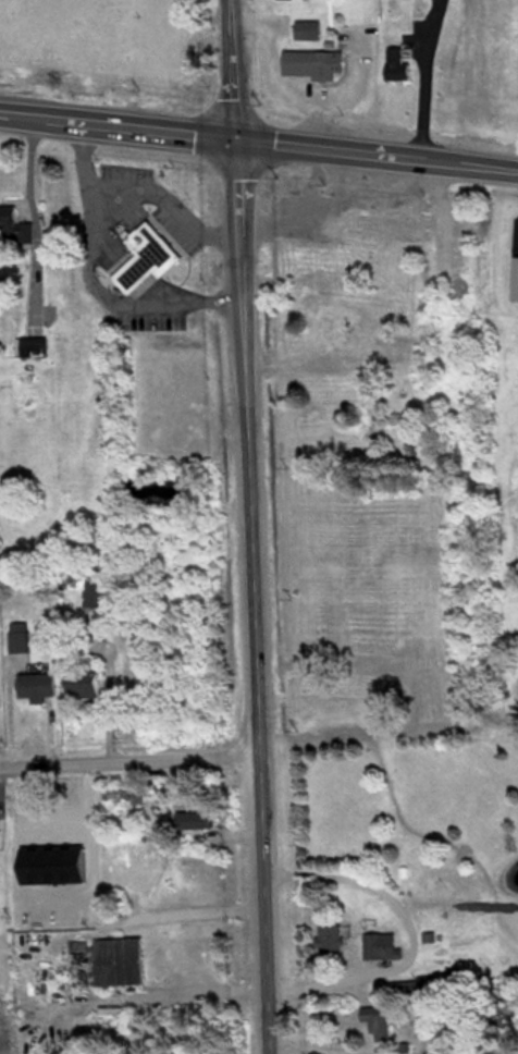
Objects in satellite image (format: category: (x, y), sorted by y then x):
building: (307, 29)
building: (313, 63)
building: (397, 63)
road: (420, 76)
traffic signals: (235, 135)
road: (259, 137)
road: (169, 199)
building: (7, 219)
building: (386, 224)
building: (147, 257)
road: (92, 278)
building: (515, 279)
building: (33, 345)
building: (351, 361)
building: (324, 385)
road: (248, 527)
building: (96, 595)
building: (18, 644)
building: (82, 684)
building: (36, 685)
road: (128, 760)
road: (51, 814)
building: (194, 820)
building: (0, 836)
building: (52, 865)
building: (330, 936)
building: (381, 944)
building: (118, 959)
building: (112, 1008)
building: (375, 1019)

